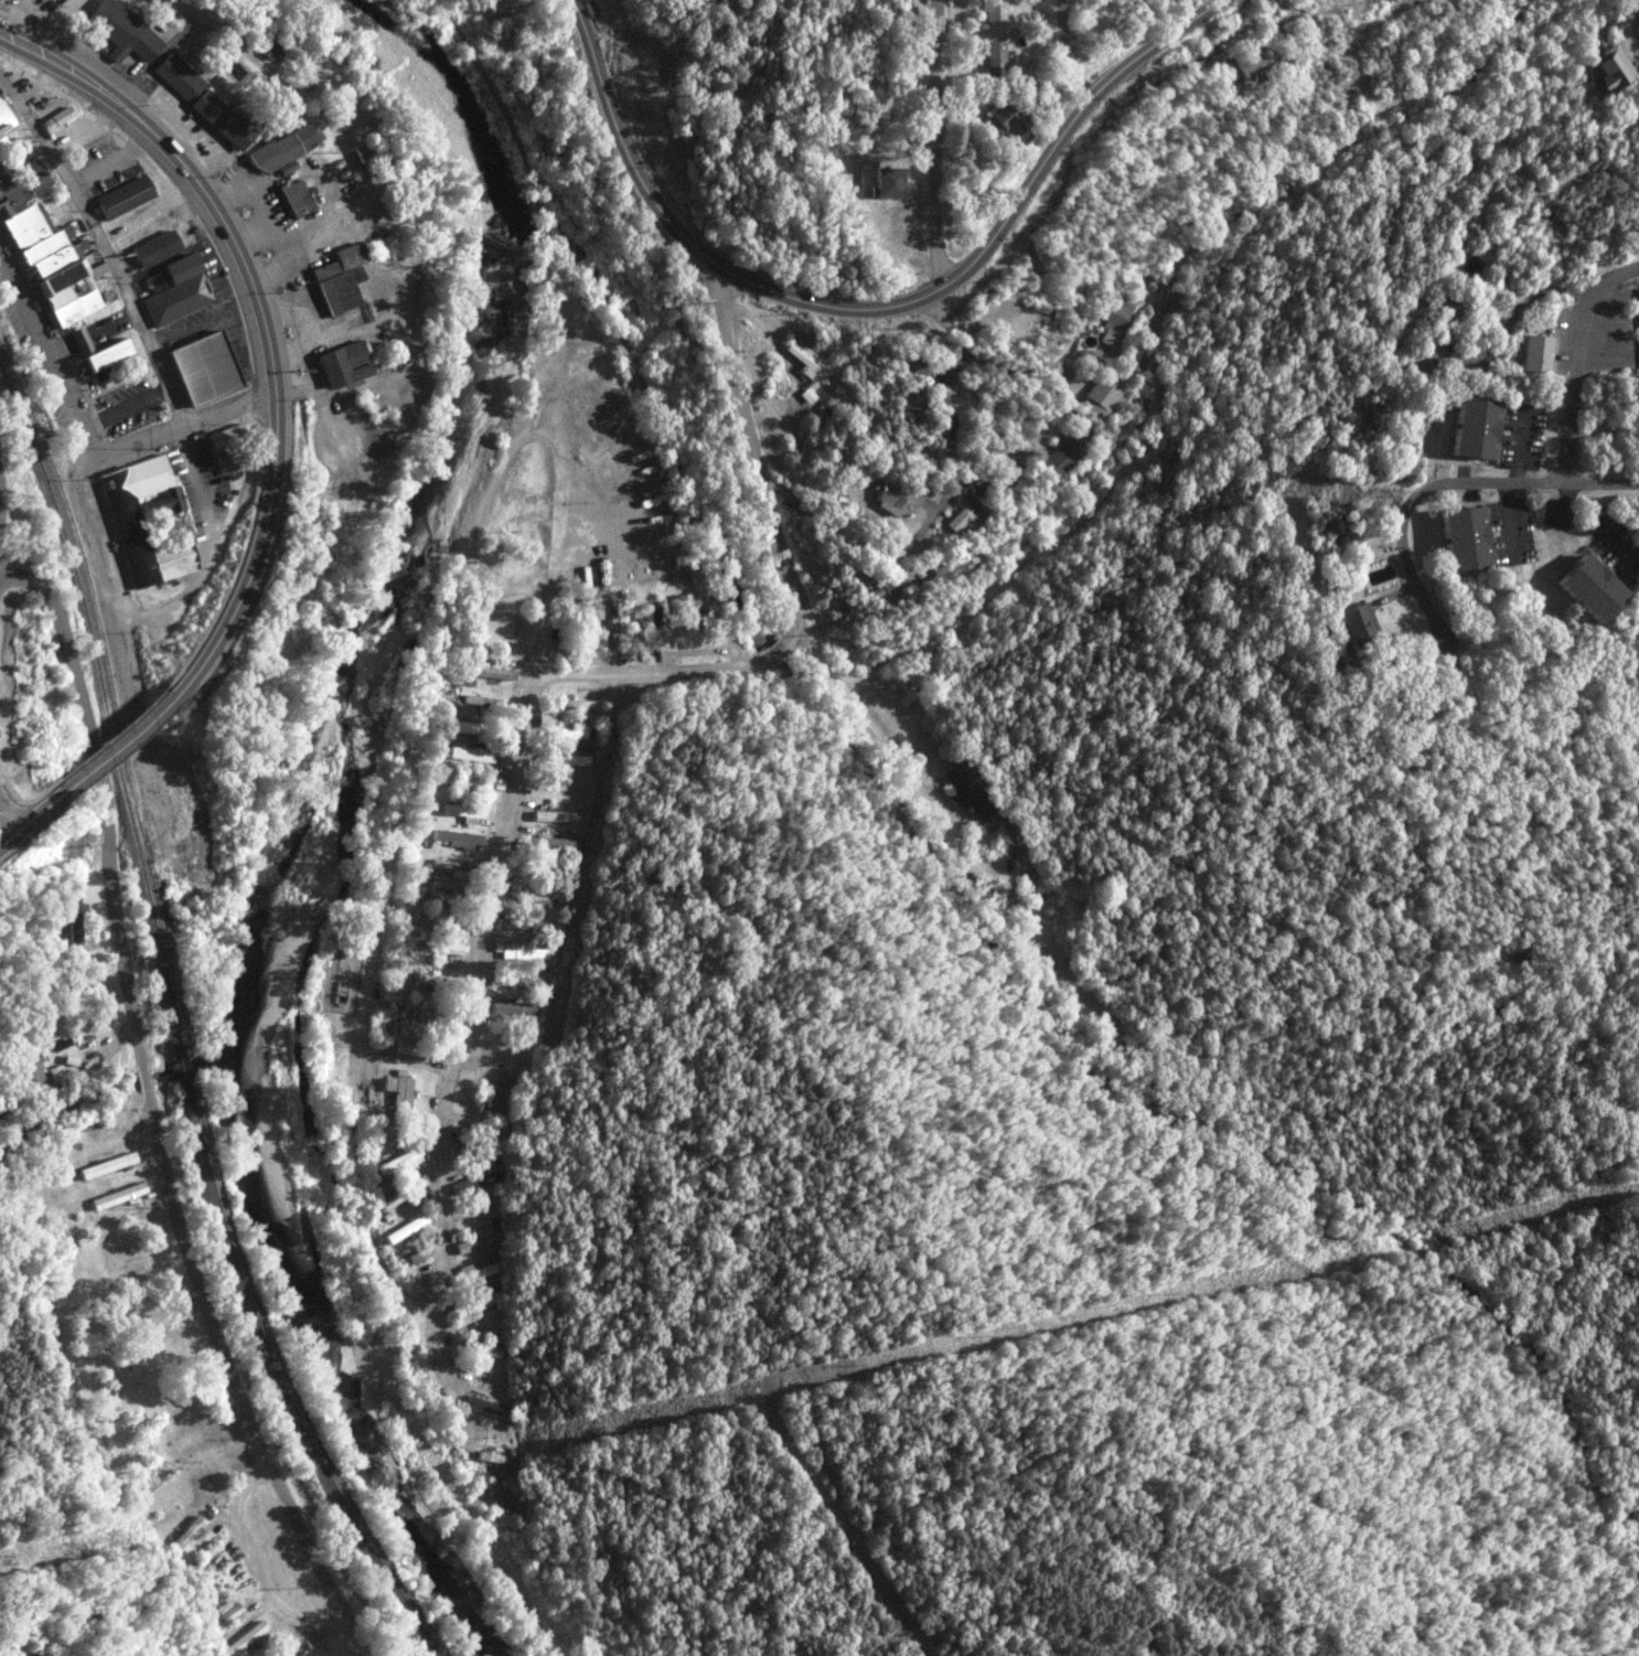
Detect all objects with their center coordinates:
building: (995, 10)
road: (1626, 18)
building: (120, 30)
building: (267, 49)
road: (1070, 50)
building: (995, 58)
building: (1250, 62)
building: (1609, 66)
building: (203, 102)
building: (8, 117)
building: (56, 118)
building: (1006, 118)
road: (139, 142)
road: (941, 145)
building: (281, 149)
building: (361, 153)
road: (100, 168)
parking lot: (103, 170)
building: (889, 181)
building: (121, 197)
building: (294, 197)
building: (45, 241)
road: (106, 249)
building: (156, 249)
building: (182, 266)
building: (340, 278)
building: (157, 281)
building: (175, 300)
building: (1446, 306)
road: (872, 309)
building: (1120, 310)
road: (263, 320)
road: (46, 345)
building: (95, 350)
building: (1536, 352)
building: (1425, 355)
building: (806, 361)
road: (1578, 361)
building: (344, 363)
building: (913, 365)
building: (204, 367)
building: (1096, 396)
building: (911, 400)
parking lot: (127, 406)
road: (126, 407)
road: (178, 427)
building: (1476, 427)
road: (1520, 445)
building: (225, 448)
building: (1059, 453)
road: (4, 469)
road: (1448, 481)
road: (204, 483)
building: (993, 487)
building: (888, 498)
road: (1509, 517)
building: (956, 521)
building: (122, 525)
road: (10, 527)
building: (1466, 537)
road: (563, 546)
building: (684, 562)
building: (950, 564)
building: (851, 571)
building: (1592, 587)
road: (182, 595)
road: (103, 598)
building: (687, 620)
building: (1359, 622)
building: (618, 623)
building: (651, 626)
road: (428, 702)
building: (483, 704)
building: (575, 704)
railway: (105, 707)
road: (869, 722)
road: (523, 726)
building: (469, 728)
building: (558, 728)
road: (115, 746)
building: (472, 756)
building: (564, 759)
building: (468, 783)
river: (298, 790)
building: (966, 793)
building: (465, 813)
building: (556, 816)
road: (29, 821)
building: (163, 824)
road: (1, 832)
building: (458, 838)
building: (1007, 843)
building: (450, 868)
building: (447, 893)
building: (539, 898)
building: (76, 919)
building: (440, 922)
building: (531, 925)
building: (440, 948)
building: (521, 950)
building: (437, 980)
building: (521, 980)
building: (516, 1008)
building: (427, 1015)
building: (420, 1051)
road: (98, 1062)
building: (29, 1067)
railway: (184, 1078)
building: (503, 1087)
building: (399, 1093)
road: (152, 1118)
building: (401, 1162)
building: (108, 1165)
building: (403, 1195)
building: (120, 1196)
building: (404, 1229)
building: (478, 1242)
building: (476, 1272)
building: (472, 1306)
building: (482, 1347)
railway: (283, 1393)
building: (486, 1407)
building: (189, 1535)
building: (204, 1559)
road: (257, 1573)
building: (228, 1616)
building: (246, 1639)

